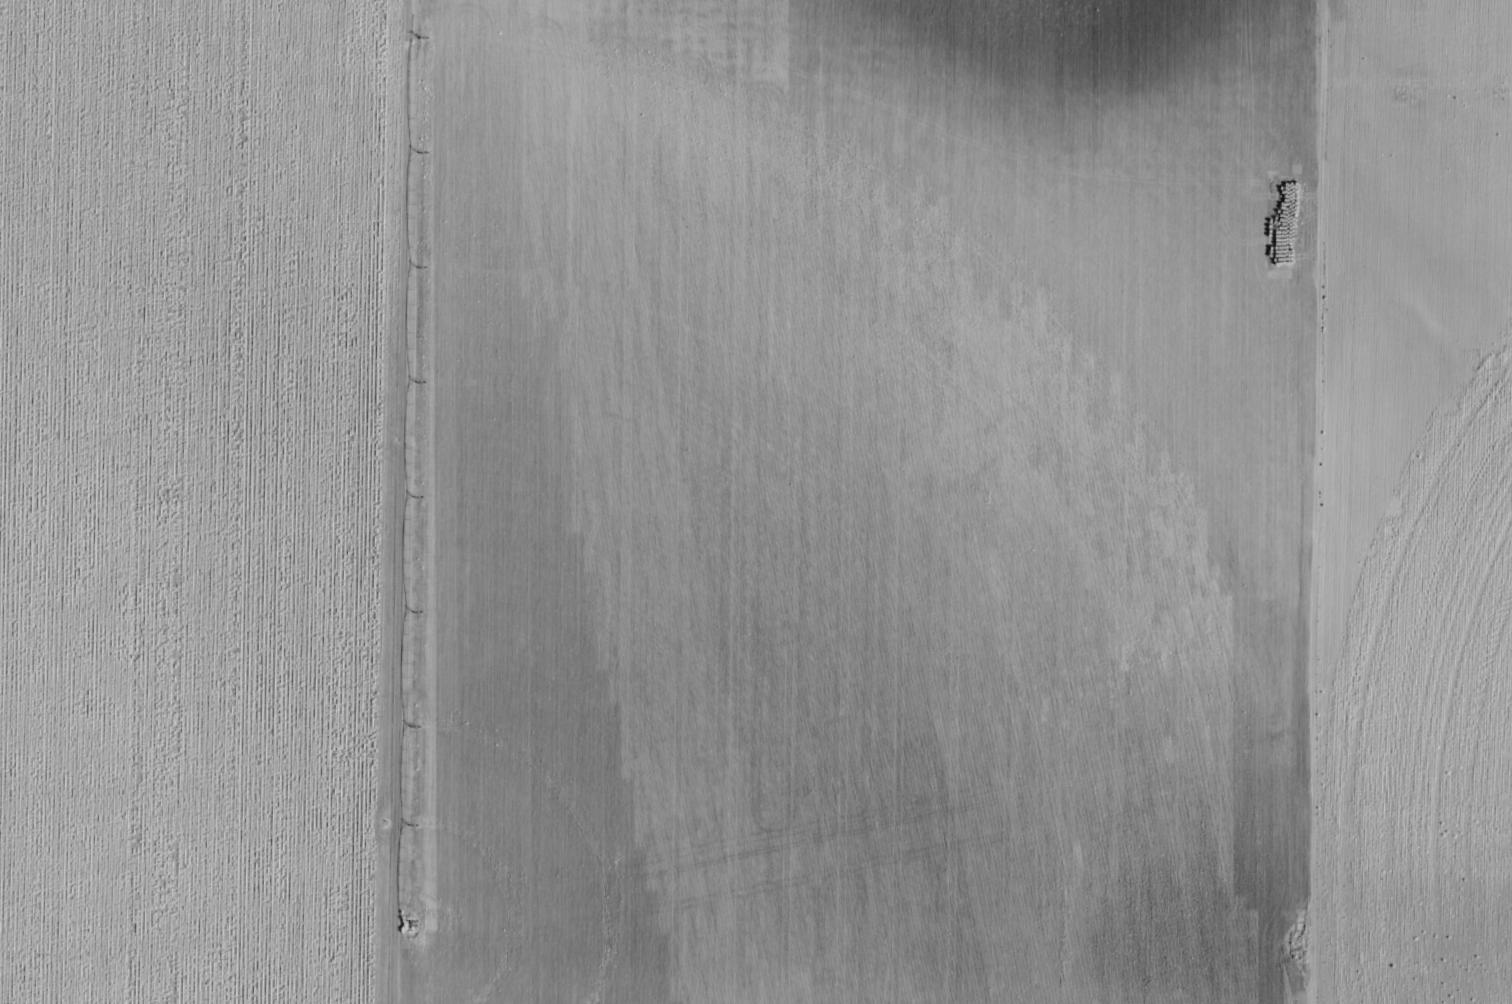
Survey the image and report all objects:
road: (421, 502)
road: (1334, 502)

